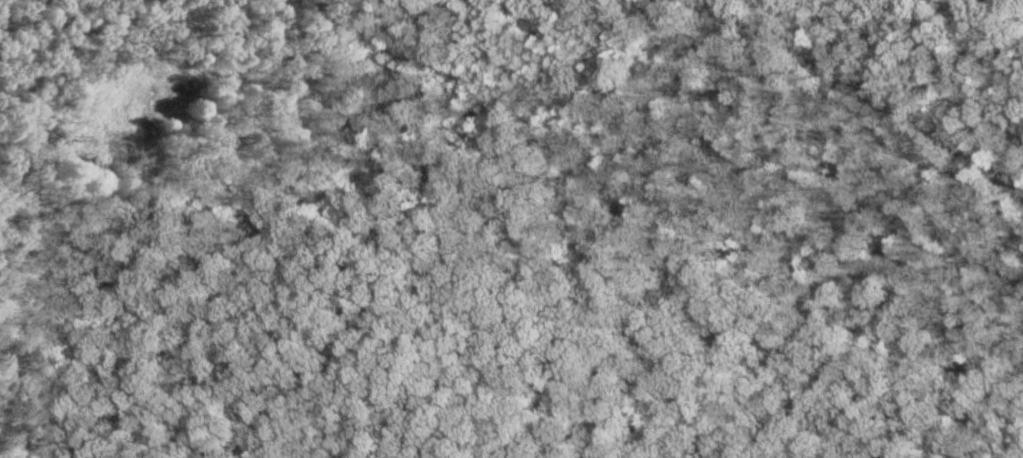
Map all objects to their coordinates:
road: (900, 66)

